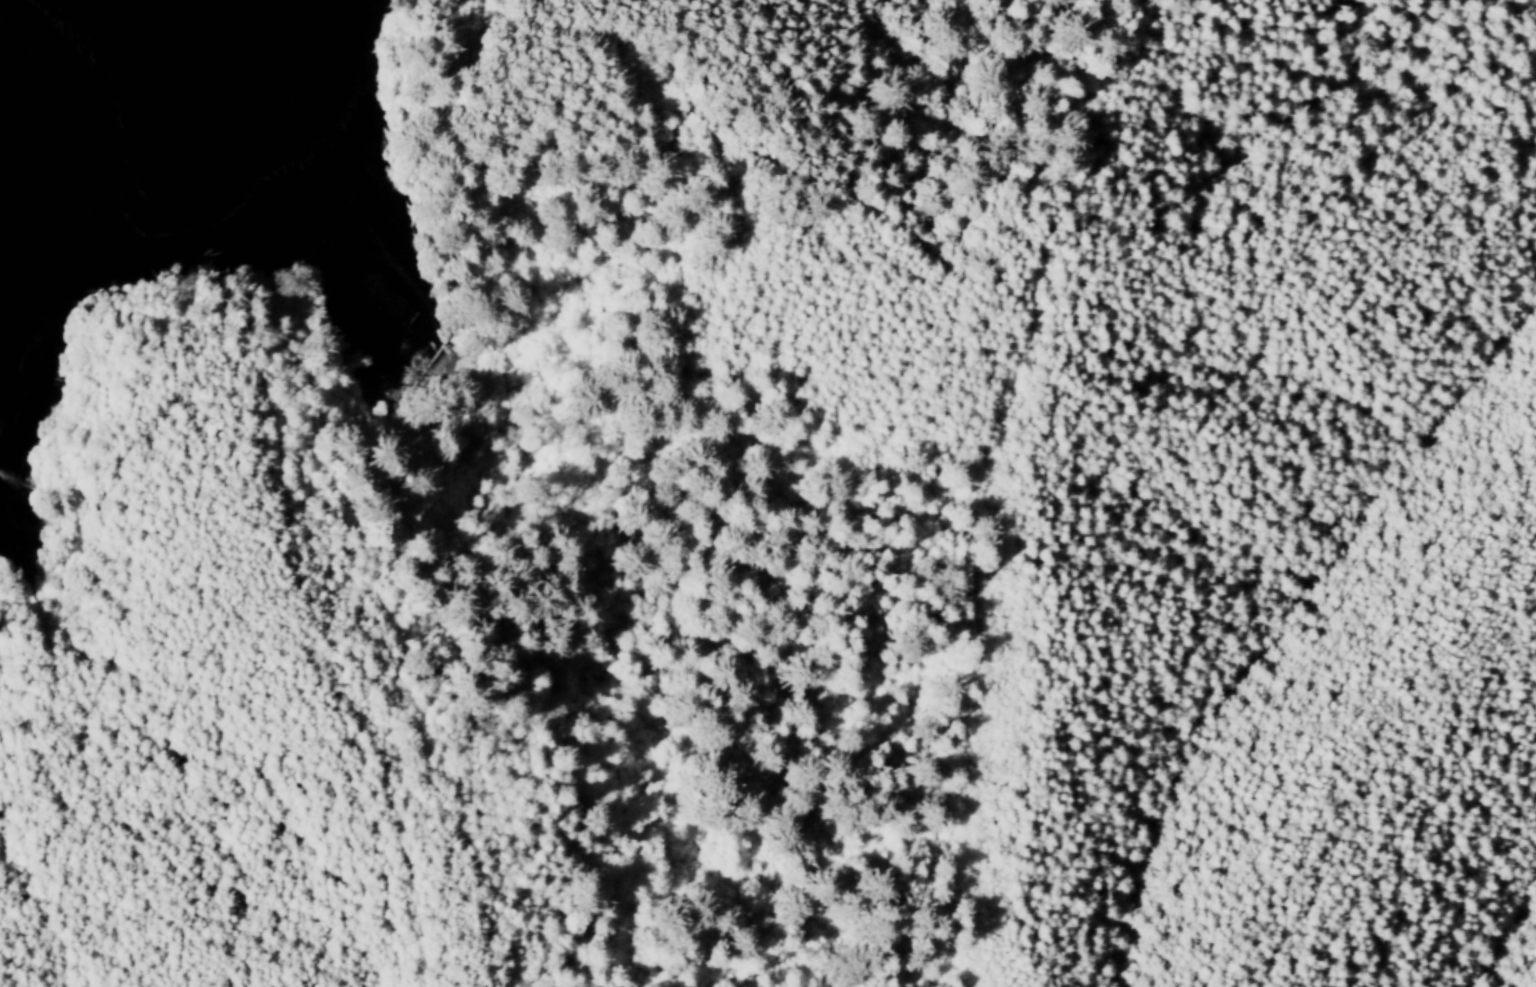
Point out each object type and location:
road: (1387, 185)

